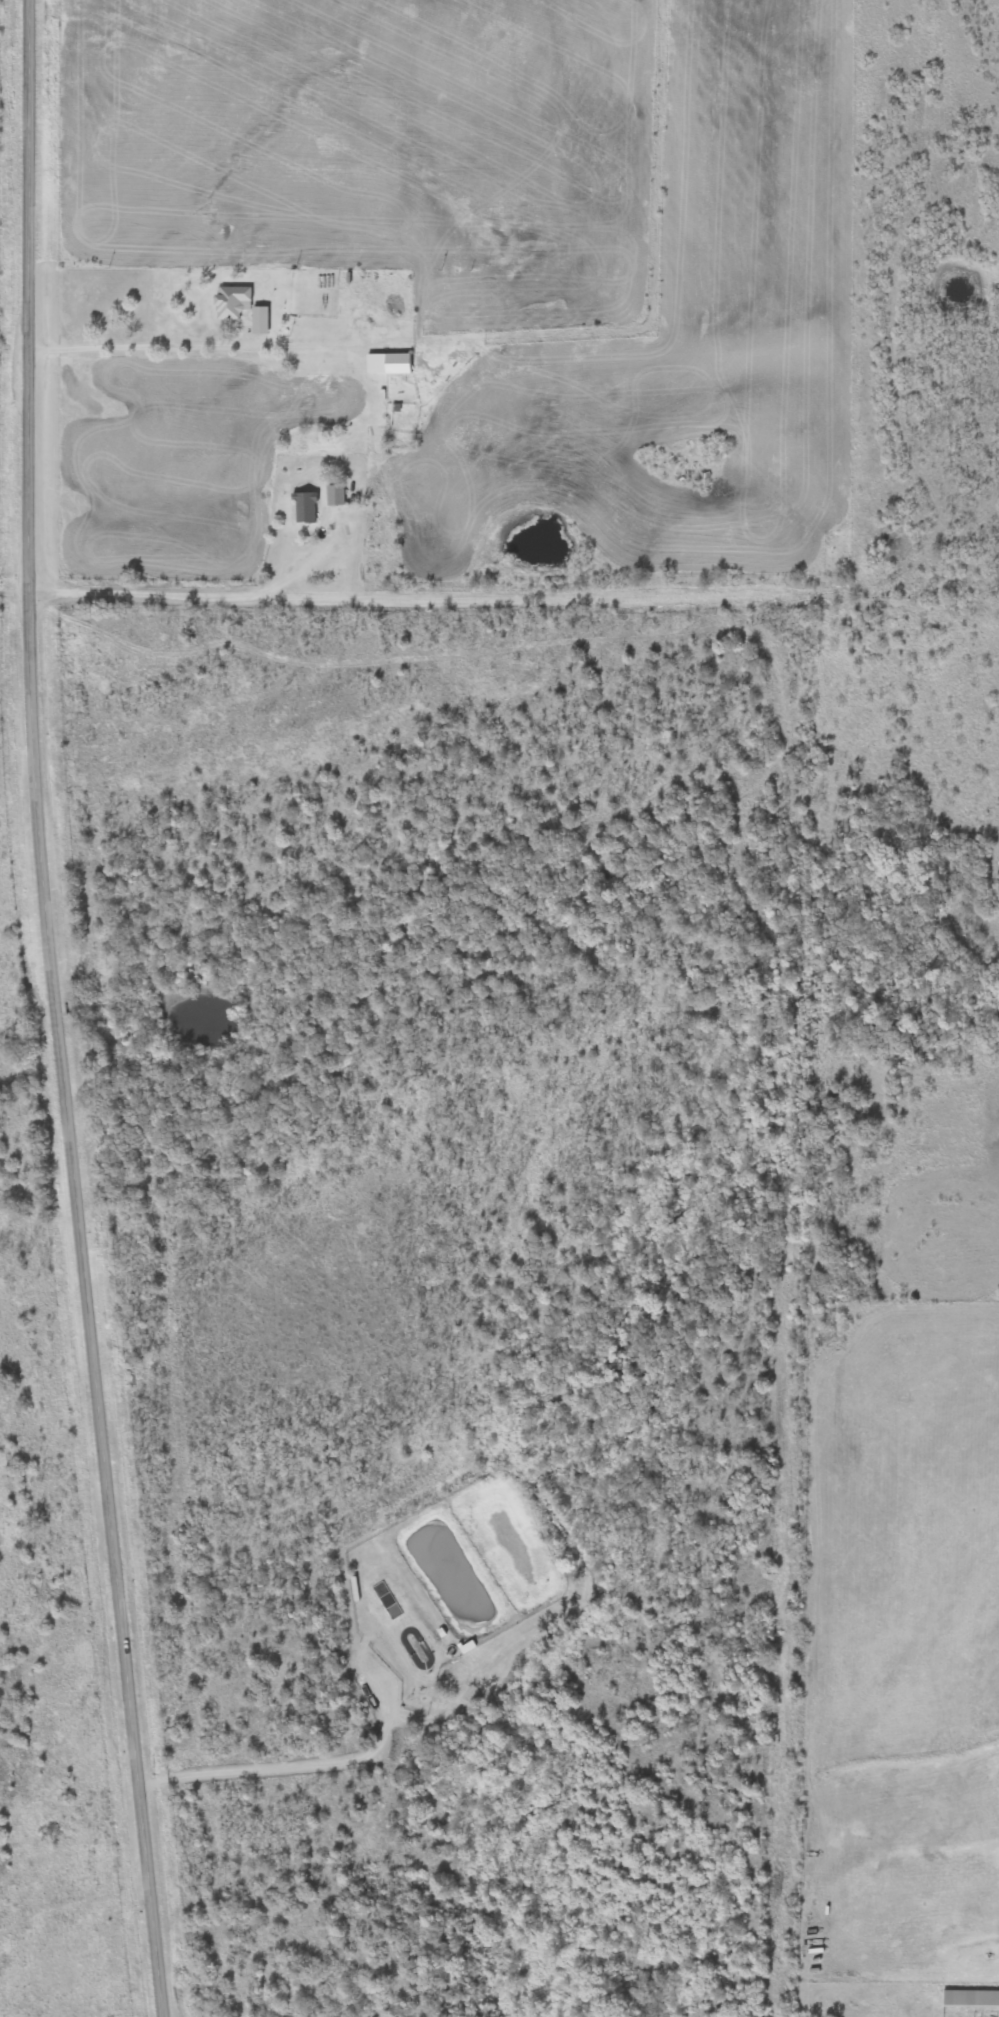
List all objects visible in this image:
road: (201, 275)
building: (230, 302)
building: (395, 364)
building: (334, 495)
building: (303, 507)
road: (441, 595)
road: (56, 1010)
building: (969, 1999)

